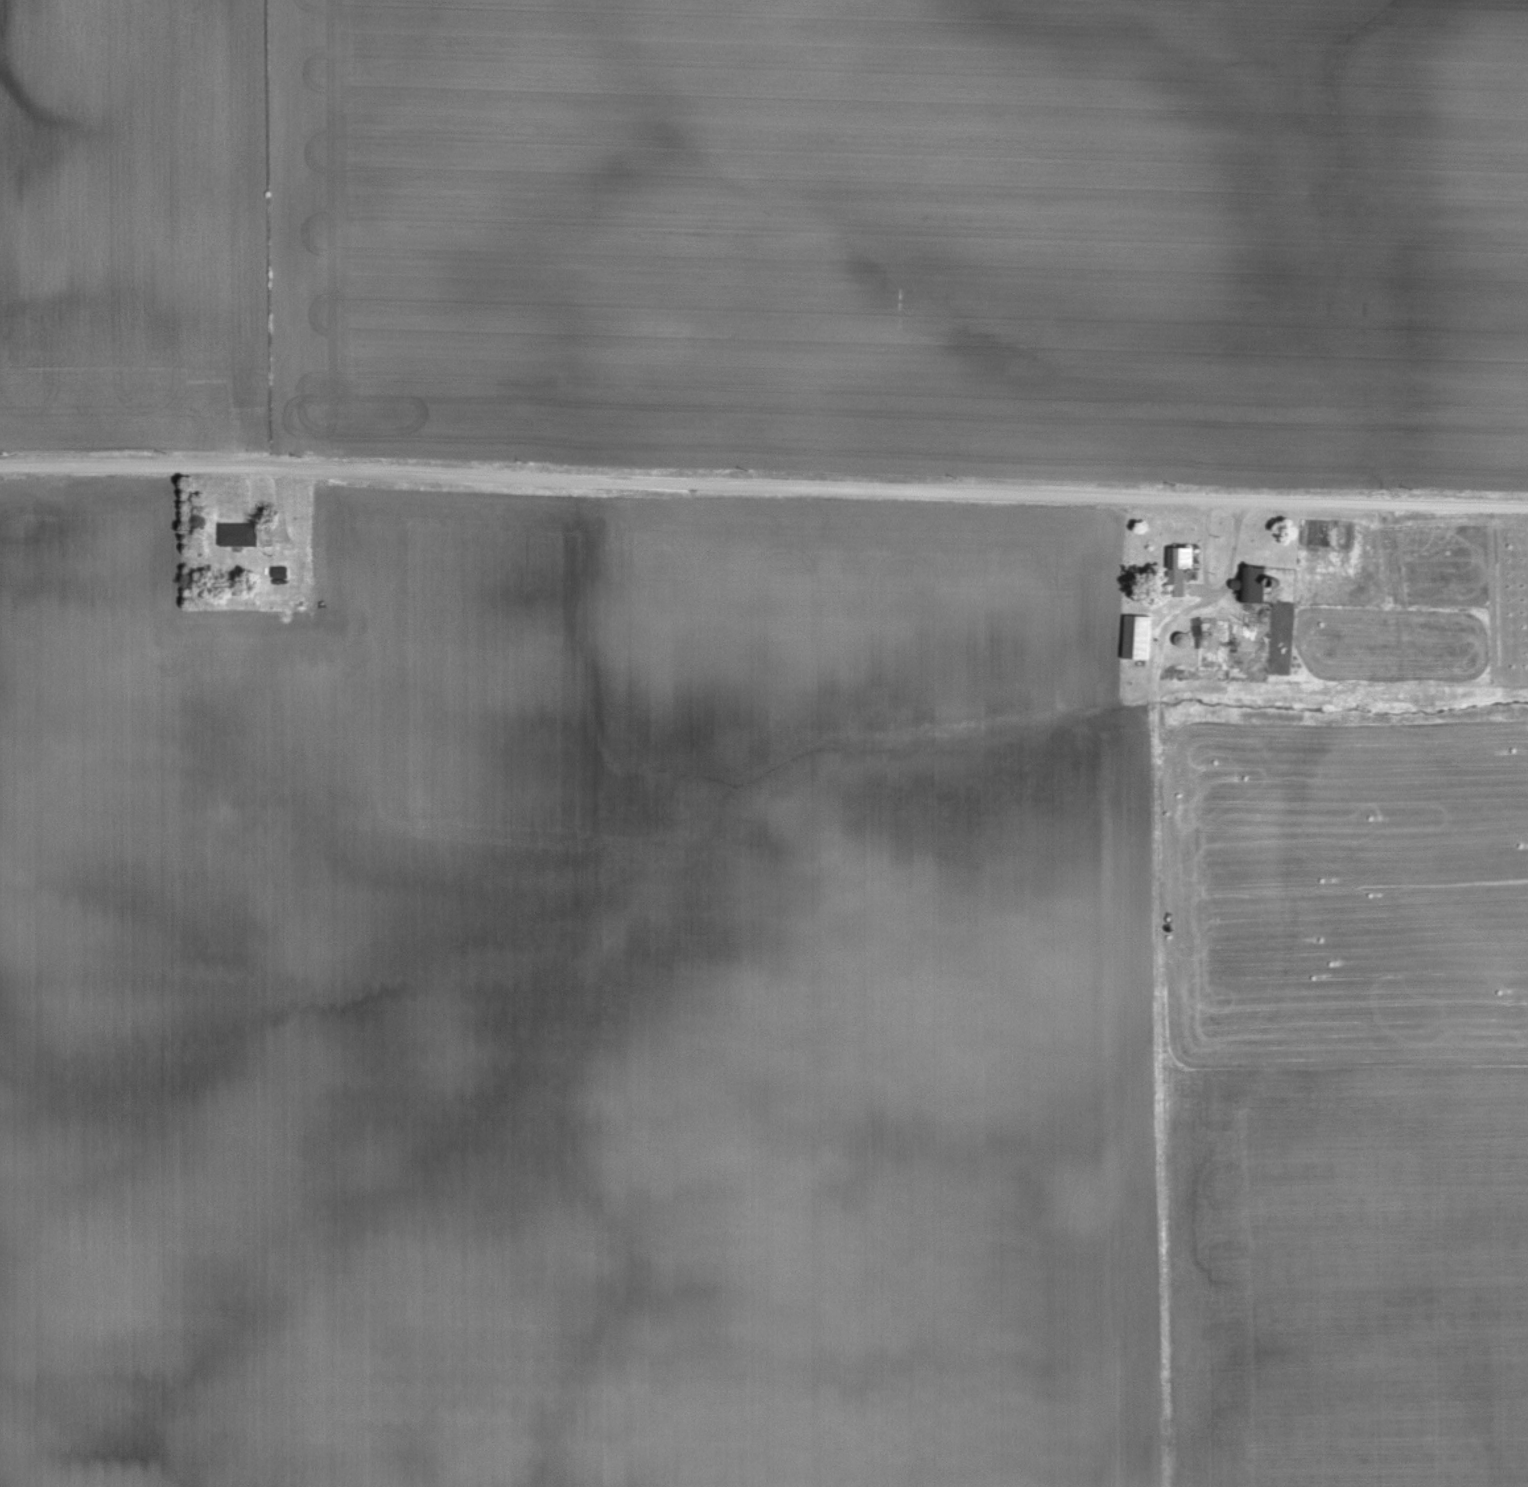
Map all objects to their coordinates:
road: (764, 484)
building: (242, 536)
building: (1186, 558)
road: (1217, 590)
building: (1141, 638)
building: (1209, 642)

